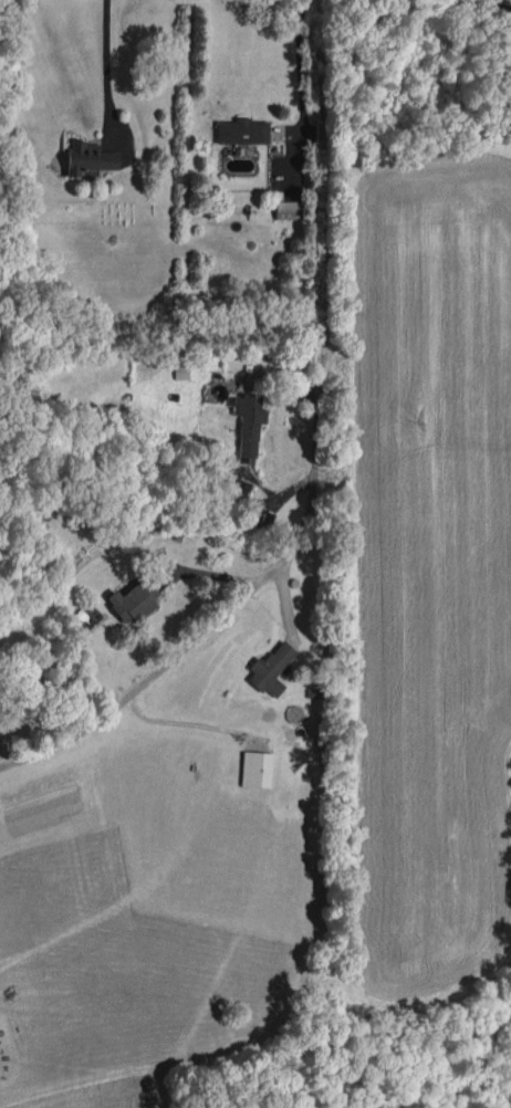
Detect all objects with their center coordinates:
road: (477, 8)
road: (299, 62)
road: (106, 63)
building: (241, 132)
building: (88, 157)
building: (288, 210)
road: (324, 390)
building: (248, 420)
building: (133, 600)
building: (270, 669)
road: (66, 744)
building: (255, 769)

